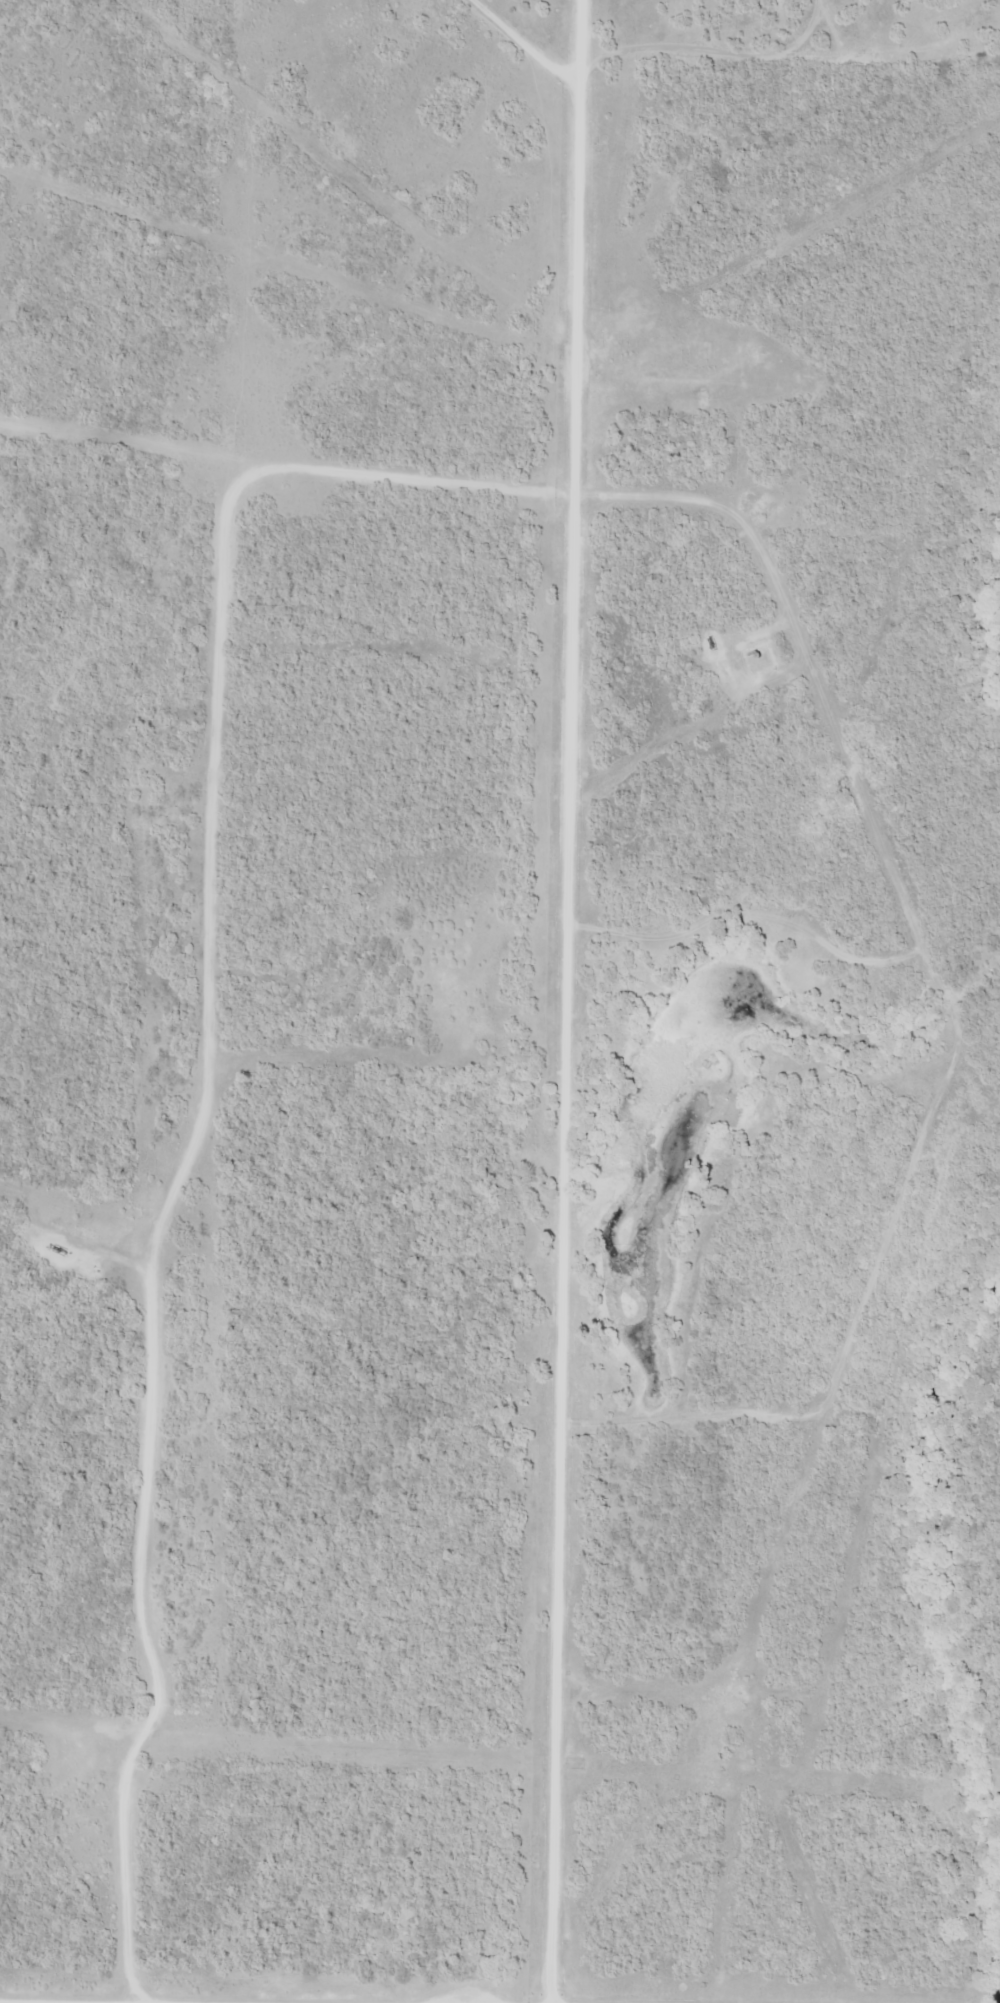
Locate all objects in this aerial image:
road: (522, 48)
road: (806, 731)
road: (565, 1049)
road: (75, 2001)

